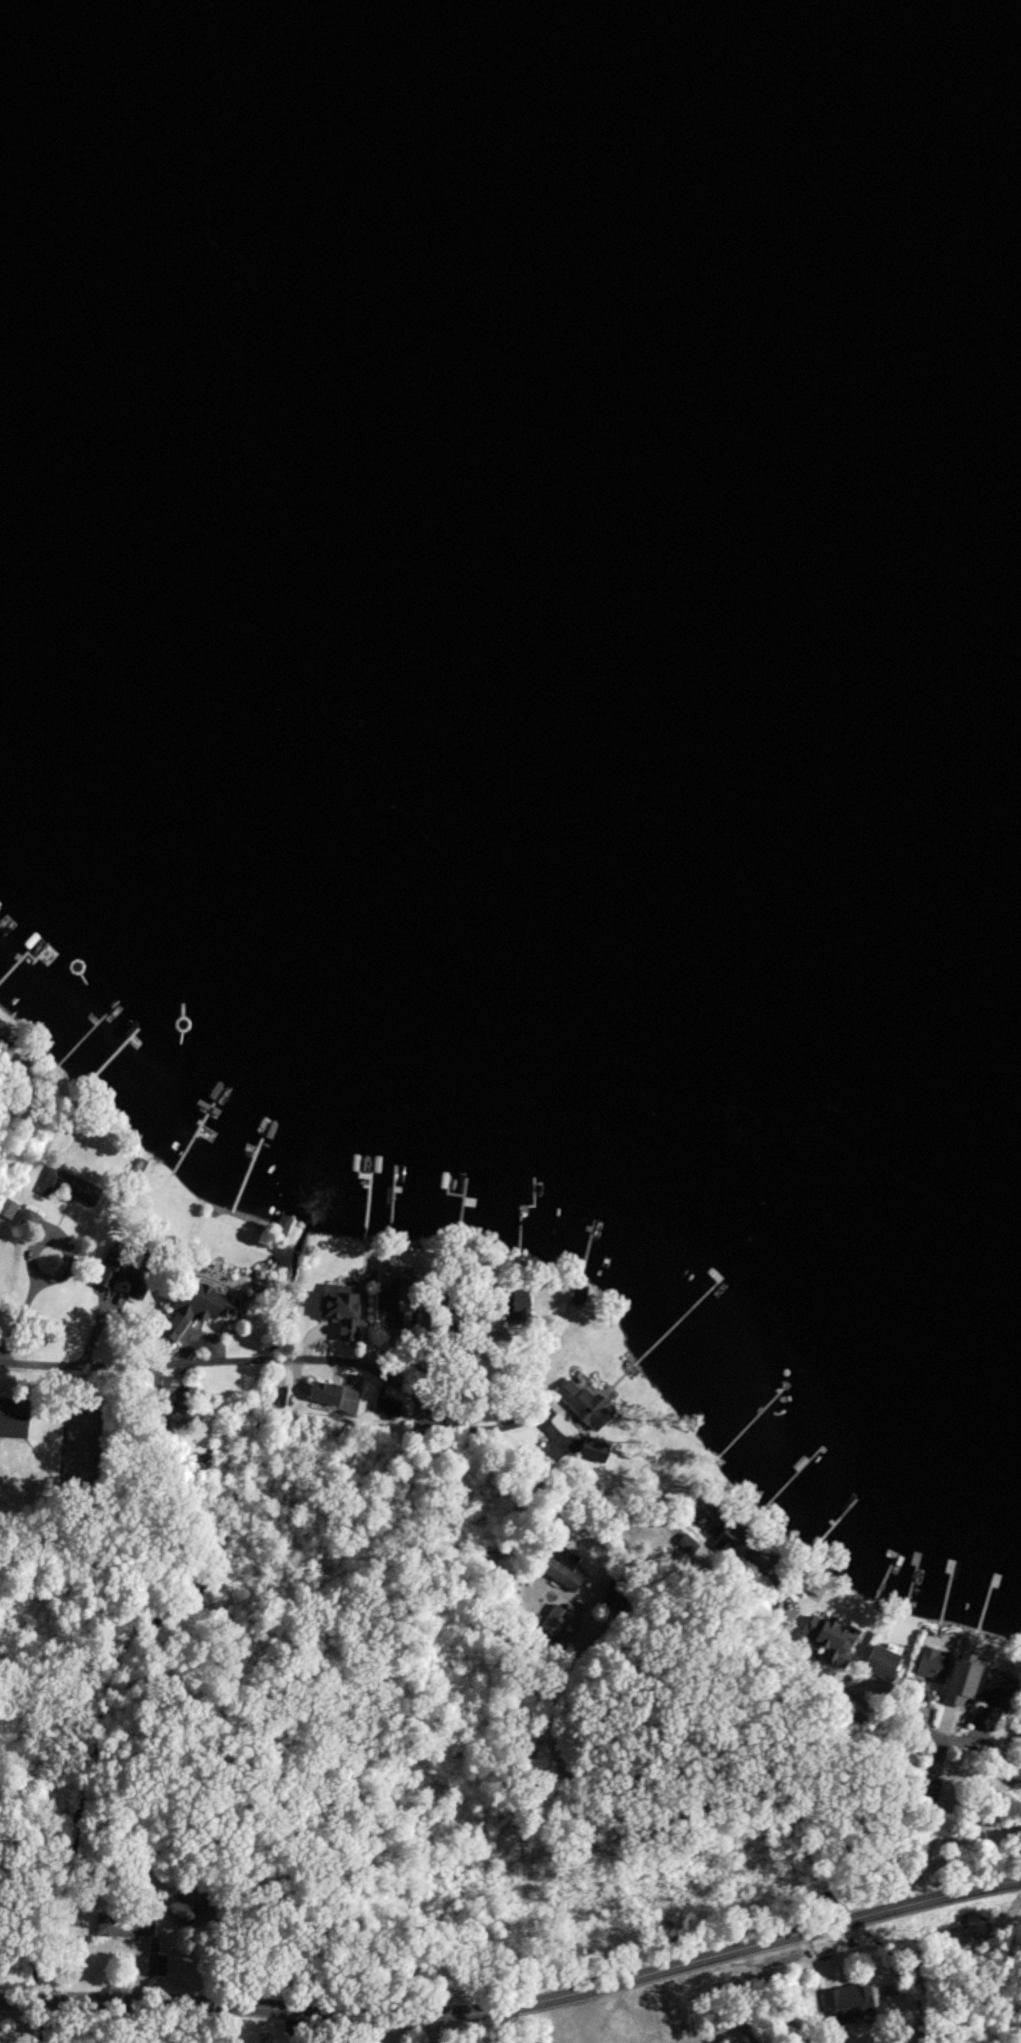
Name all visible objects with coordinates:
building: (8, 1211)
building: (220, 1305)
building: (345, 1312)
road: (273, 1355)
building: (583, 1405)
building: (15, 1427)
building: (595, 1455)
building: (689, 1548)
building: (556, 1623)
building: (883, 1667)
building: (933, 1667)
building: (964, 1685)
road: (885, 1693)
road: (629, 1799)
building: (115, 1927)
road: (518, 2002)
building: (847, 2004)
road: (168, 2023)

